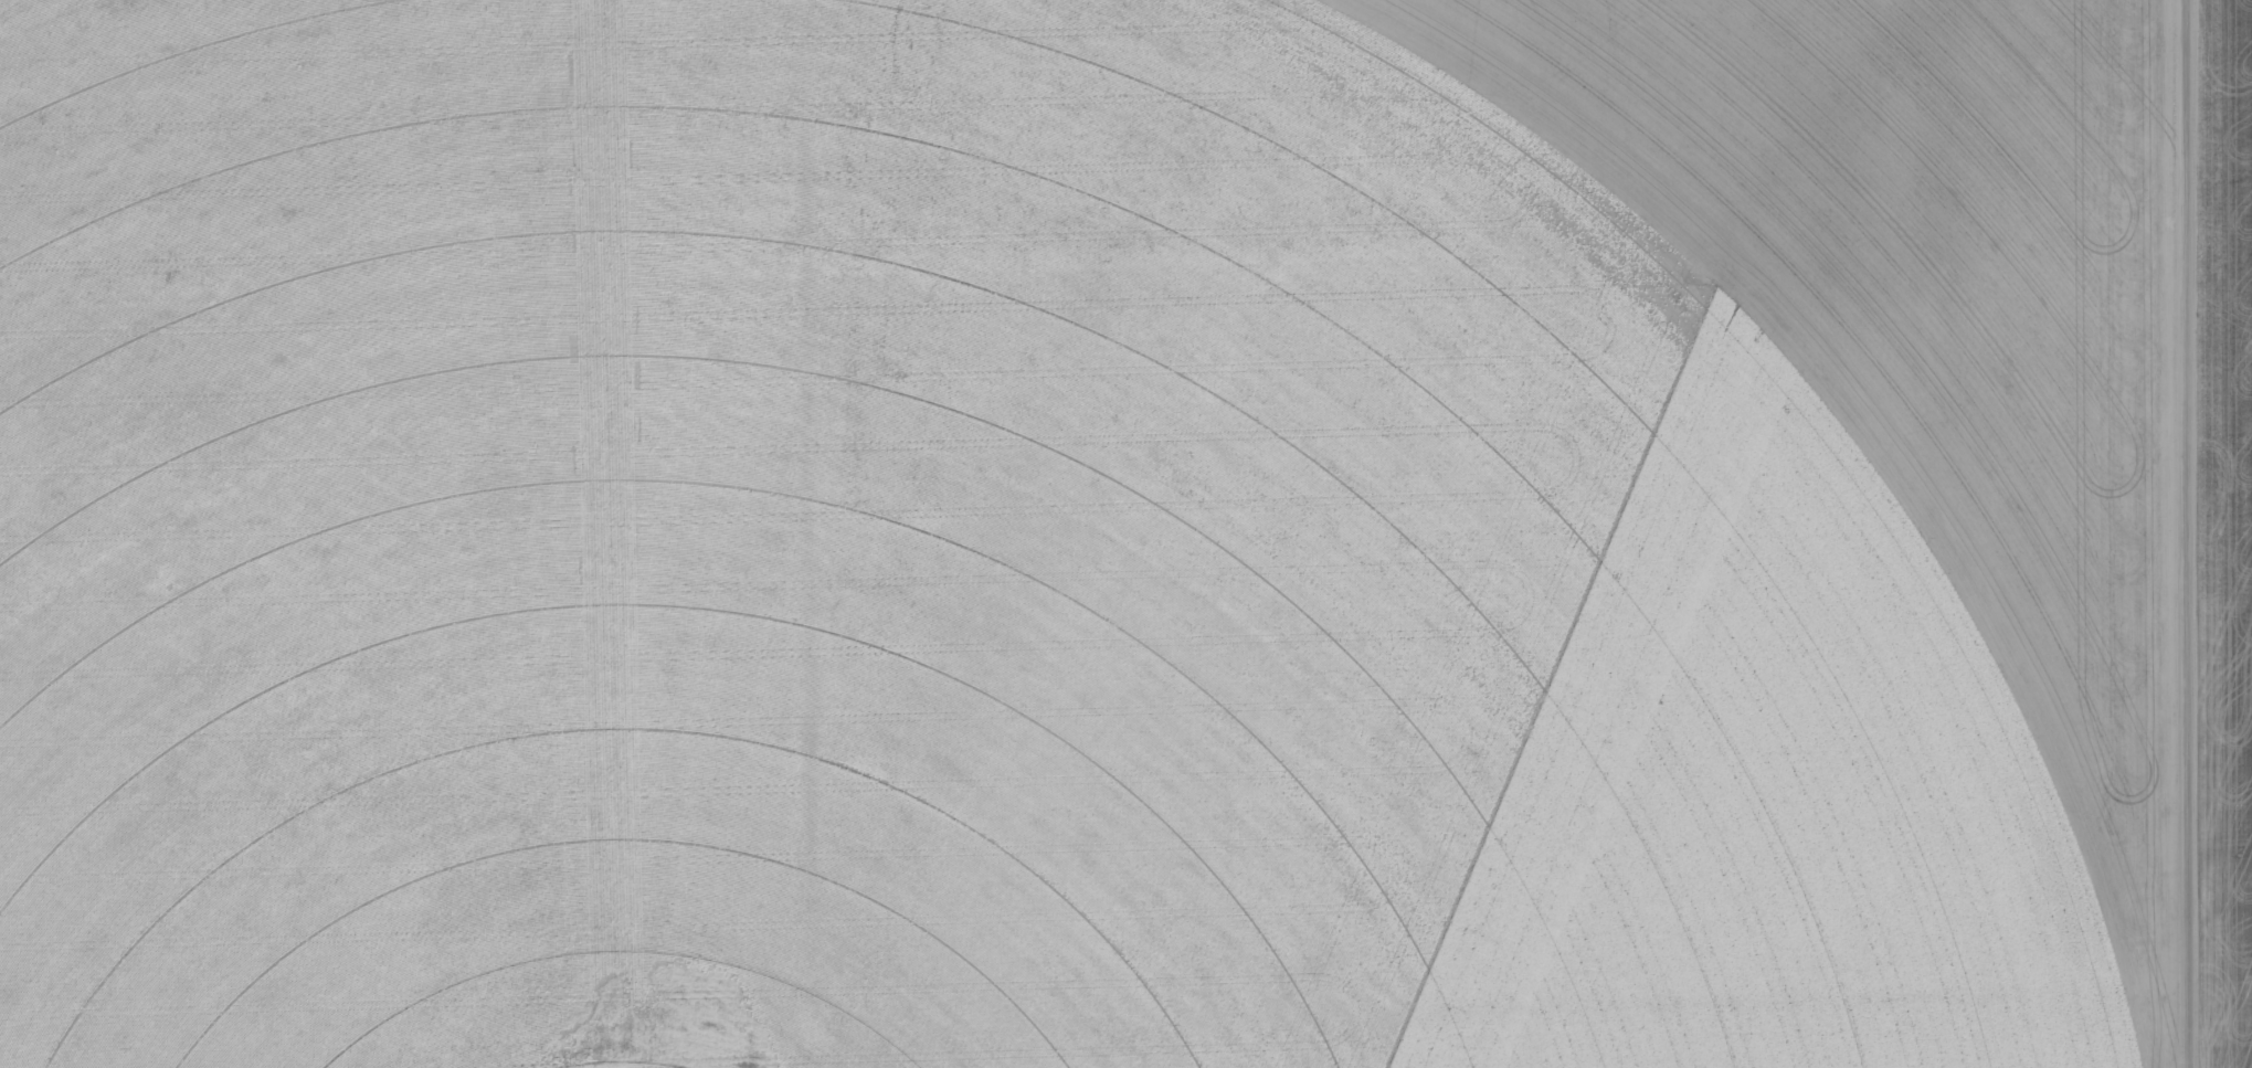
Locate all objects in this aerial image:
road: (2196, 533)

